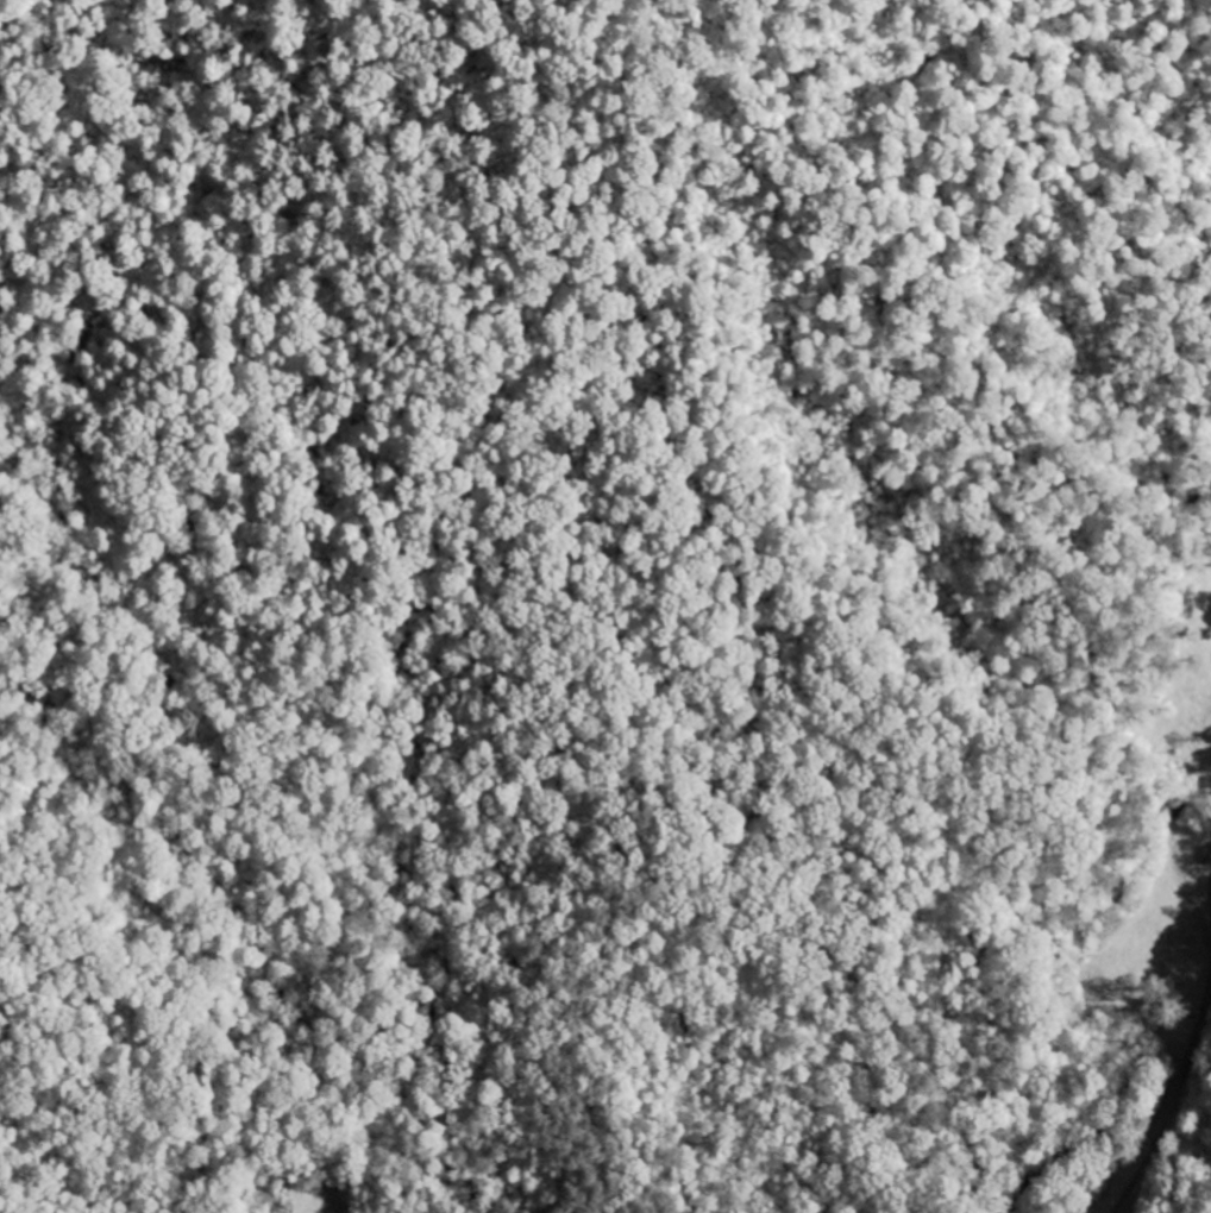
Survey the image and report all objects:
road: (1172, 1114)

